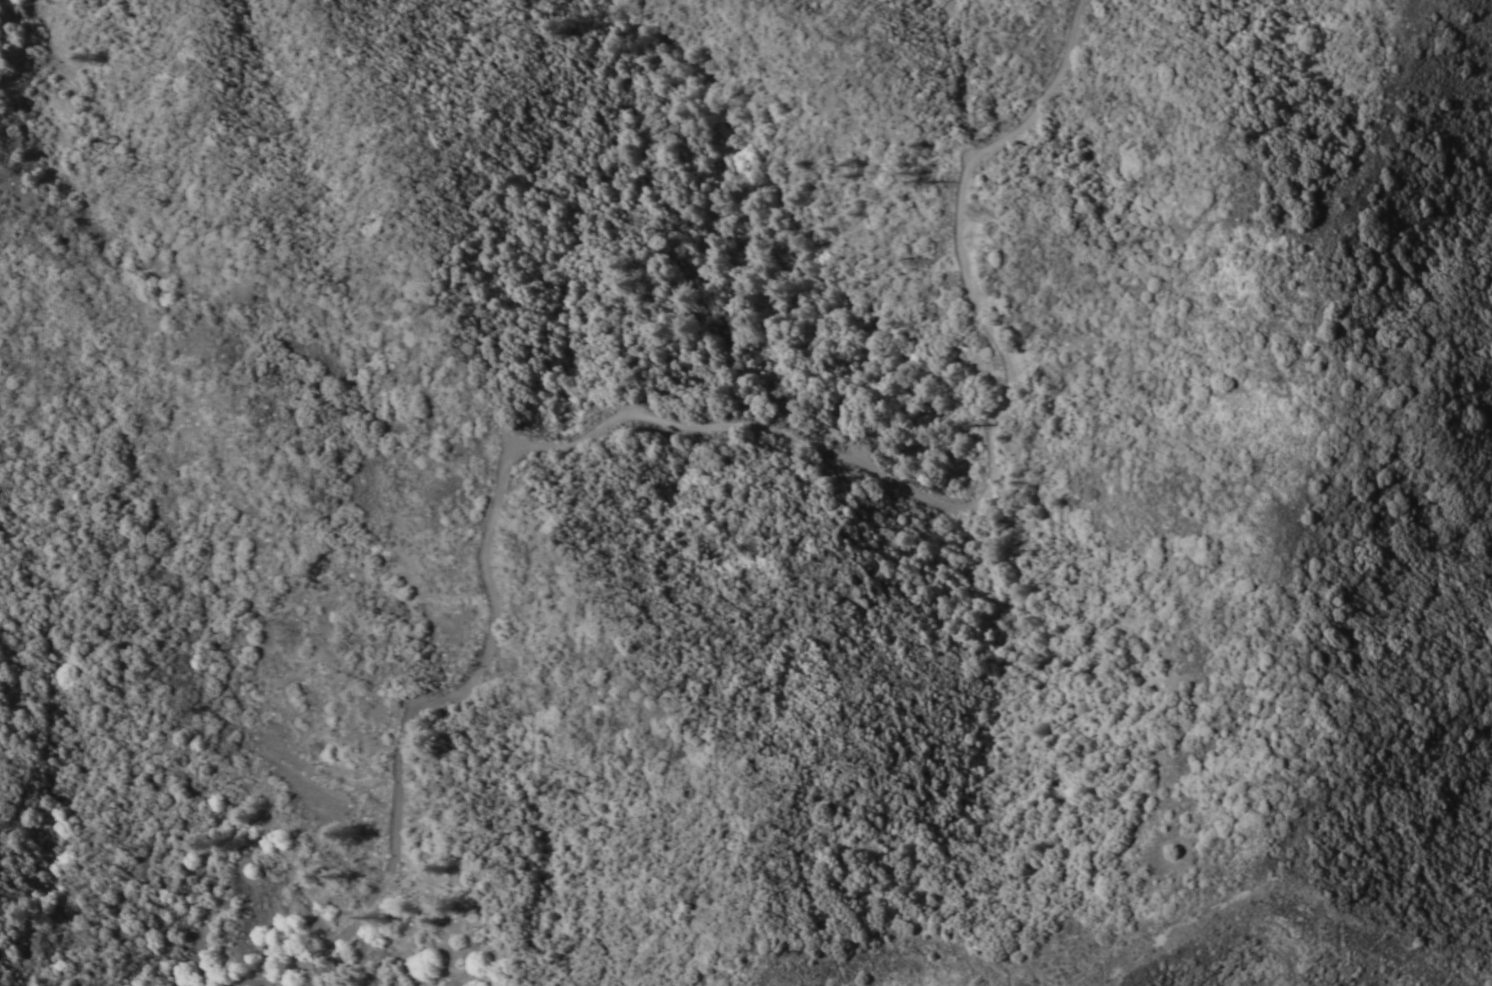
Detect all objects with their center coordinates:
road: (698, 424)

